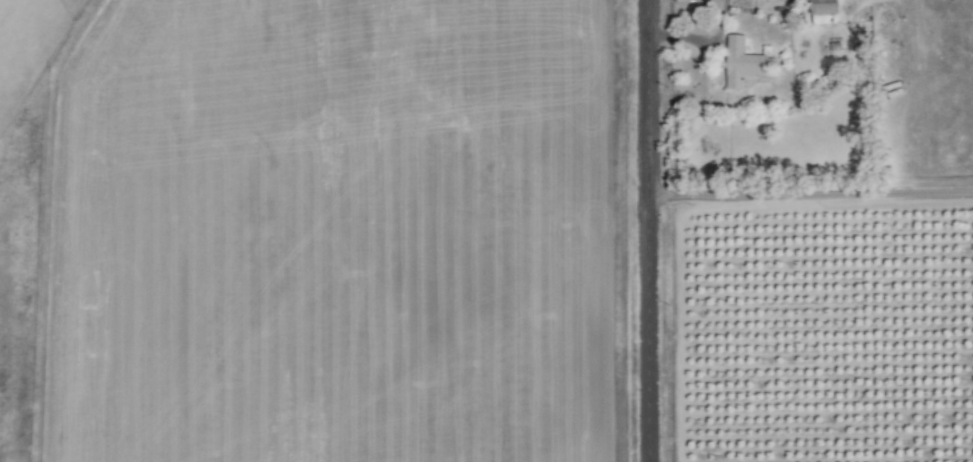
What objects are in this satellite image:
building: (828, 12)
building: (745, 64)
road: (810, 192)
road: (648, 230)

